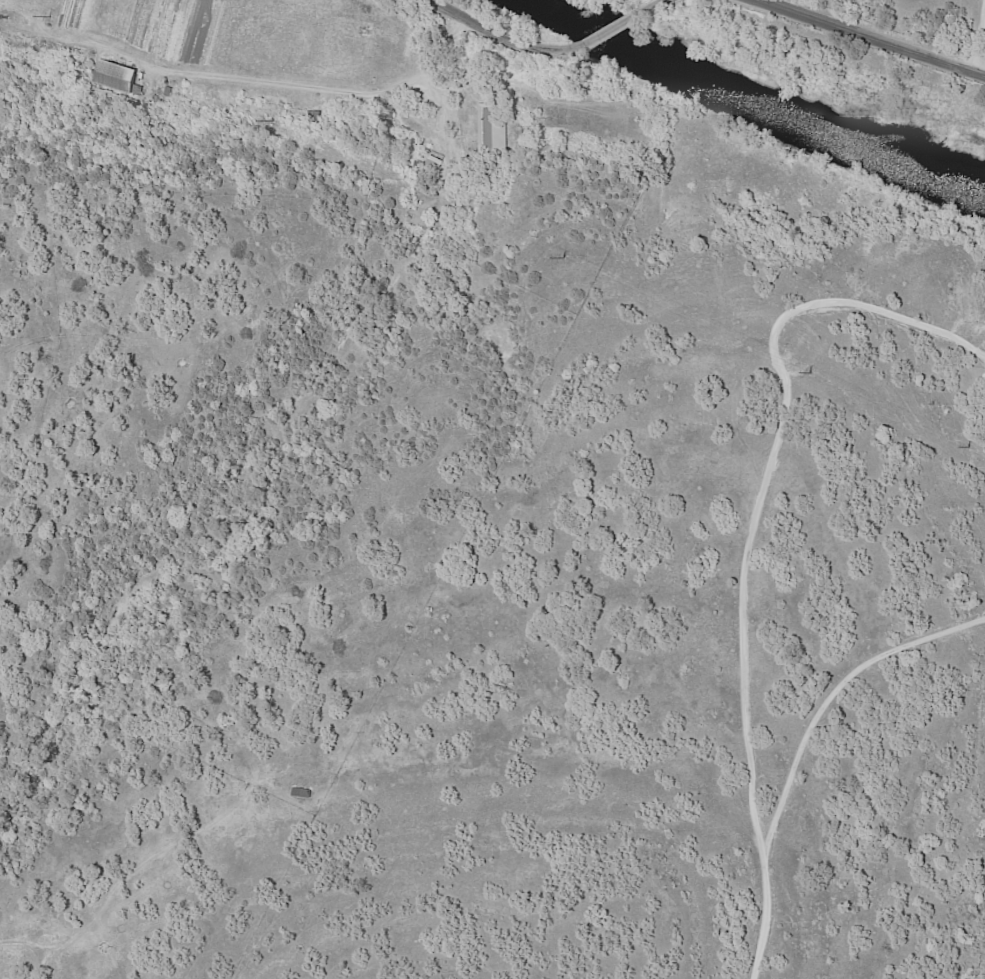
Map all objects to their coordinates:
road: (653, 4)
power tower: (51, 18)
road: (615, 27)
road: (505, 38)
road: (873, 39)
road: (980, 42)
building: (118, 76)
power tower: (271, 121)
building: (493, 128)
power tower: (566, 260)
power tower: (813, 373)
power tower: (968, 447)
road: (748, 534)
building: (303, 793)

